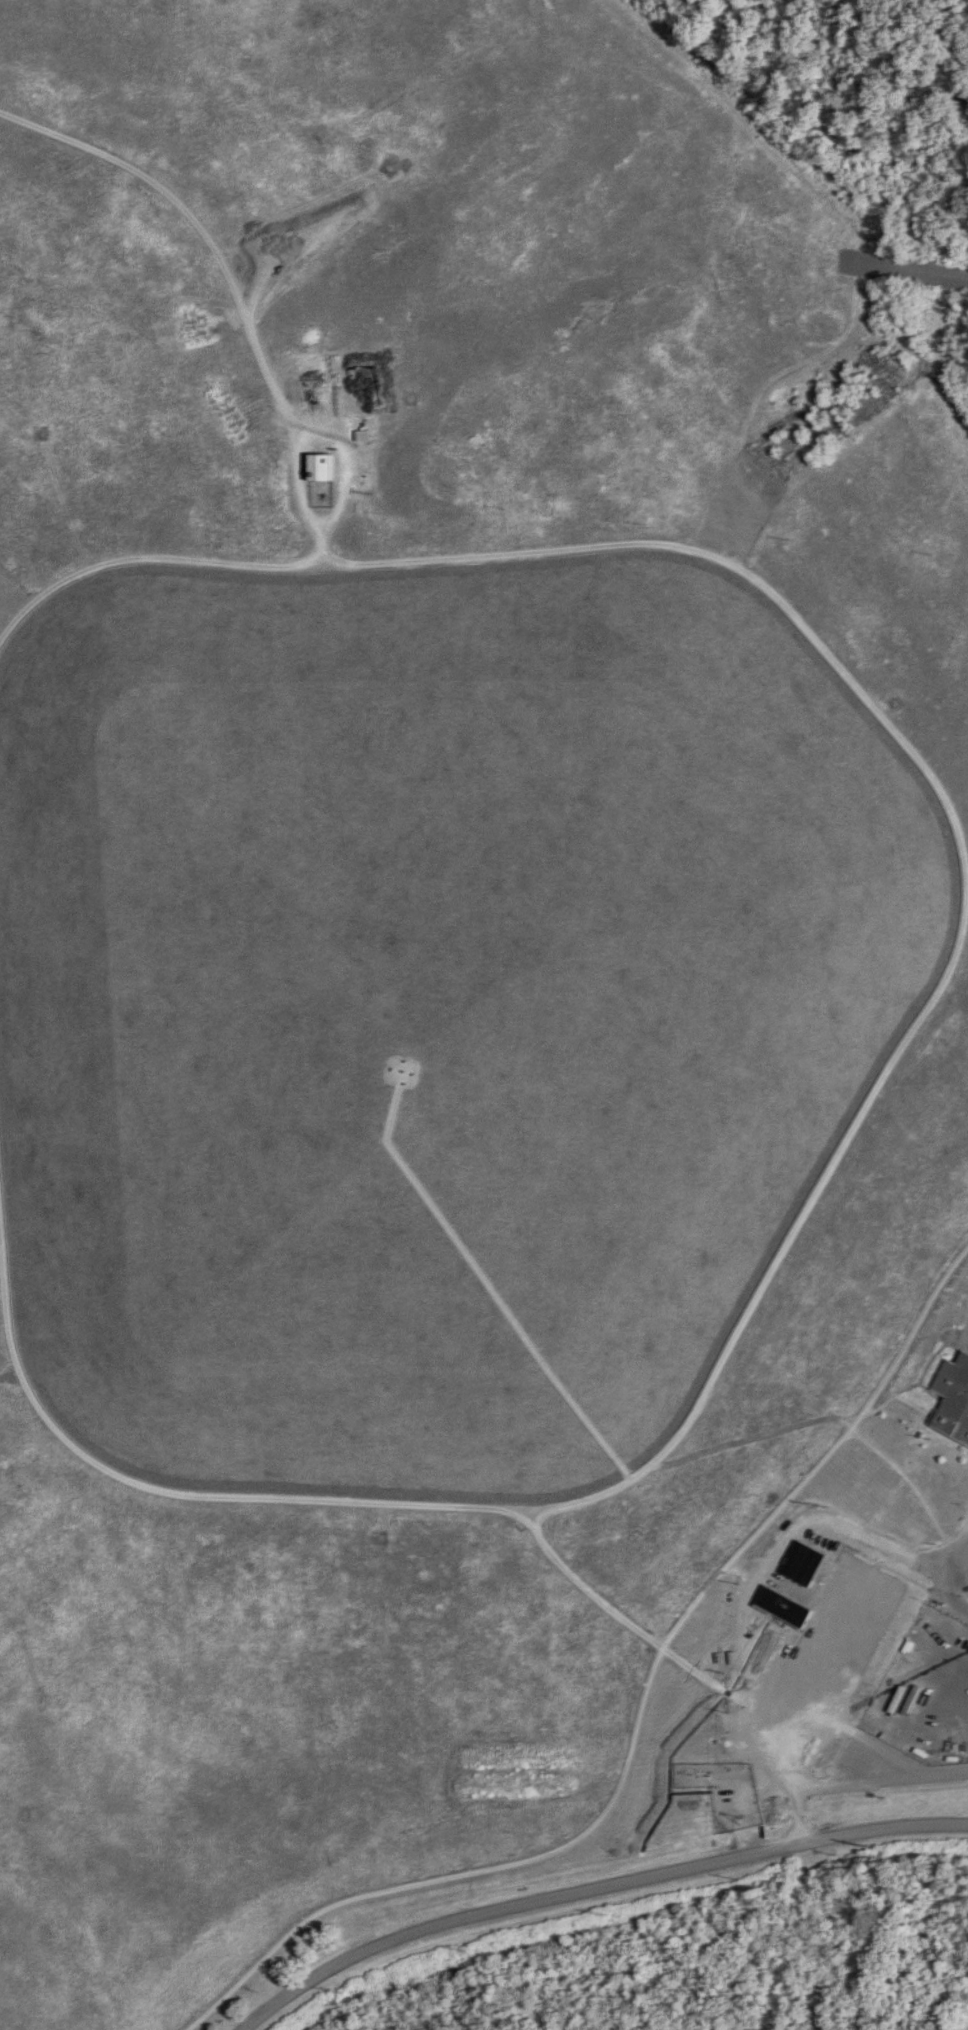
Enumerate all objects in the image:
road: (202, 233)
road: (903, 268)
building: (320, 466)
road: (331, 520)
road: (332, 557)
road: (311, 558)
park: (462, 982)
landfill: (429, 1003)
road: (896, 1053)
road: (456, 1223)
parking lot: (965, 1339)
road: (930, 1363)
road: (934, 1394)
road: (900, 1398)
building: (955, 1400)
road: (754, 1437)
road: (914, 1487)
road: (959, 1560)
building: (803, 1563)
road: (946, 1587)
parking lot: (965, 1589)
road: (955, 1602)
road: (750, 1603)
road: (621, 1617)
building: (822, 1652)
road: (637, 1723)
road: (908, 1775)
road: (590, 1888)

